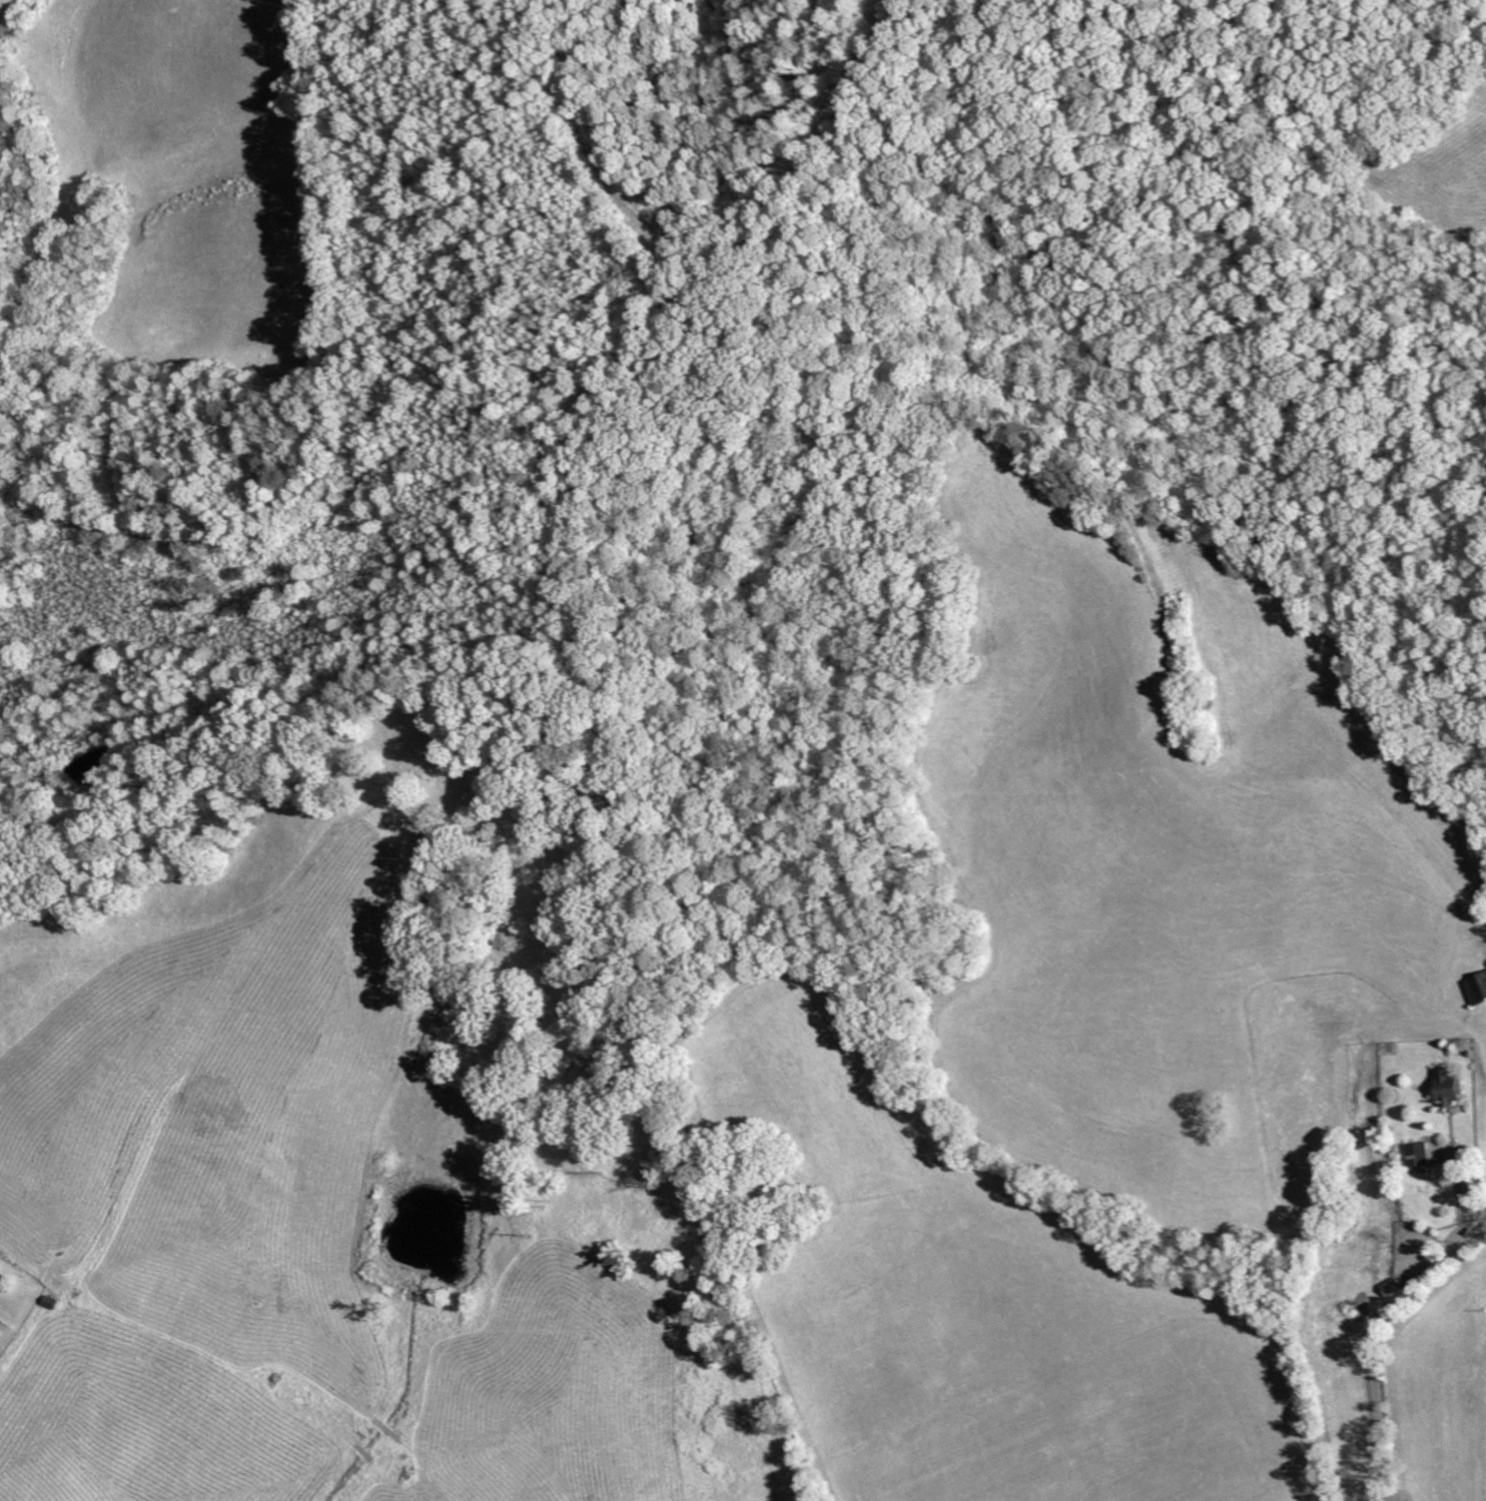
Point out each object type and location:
building: (1477, 989)
building: (1449, 1087)
building: (1419, 1154)
road: (1374, 1343)

